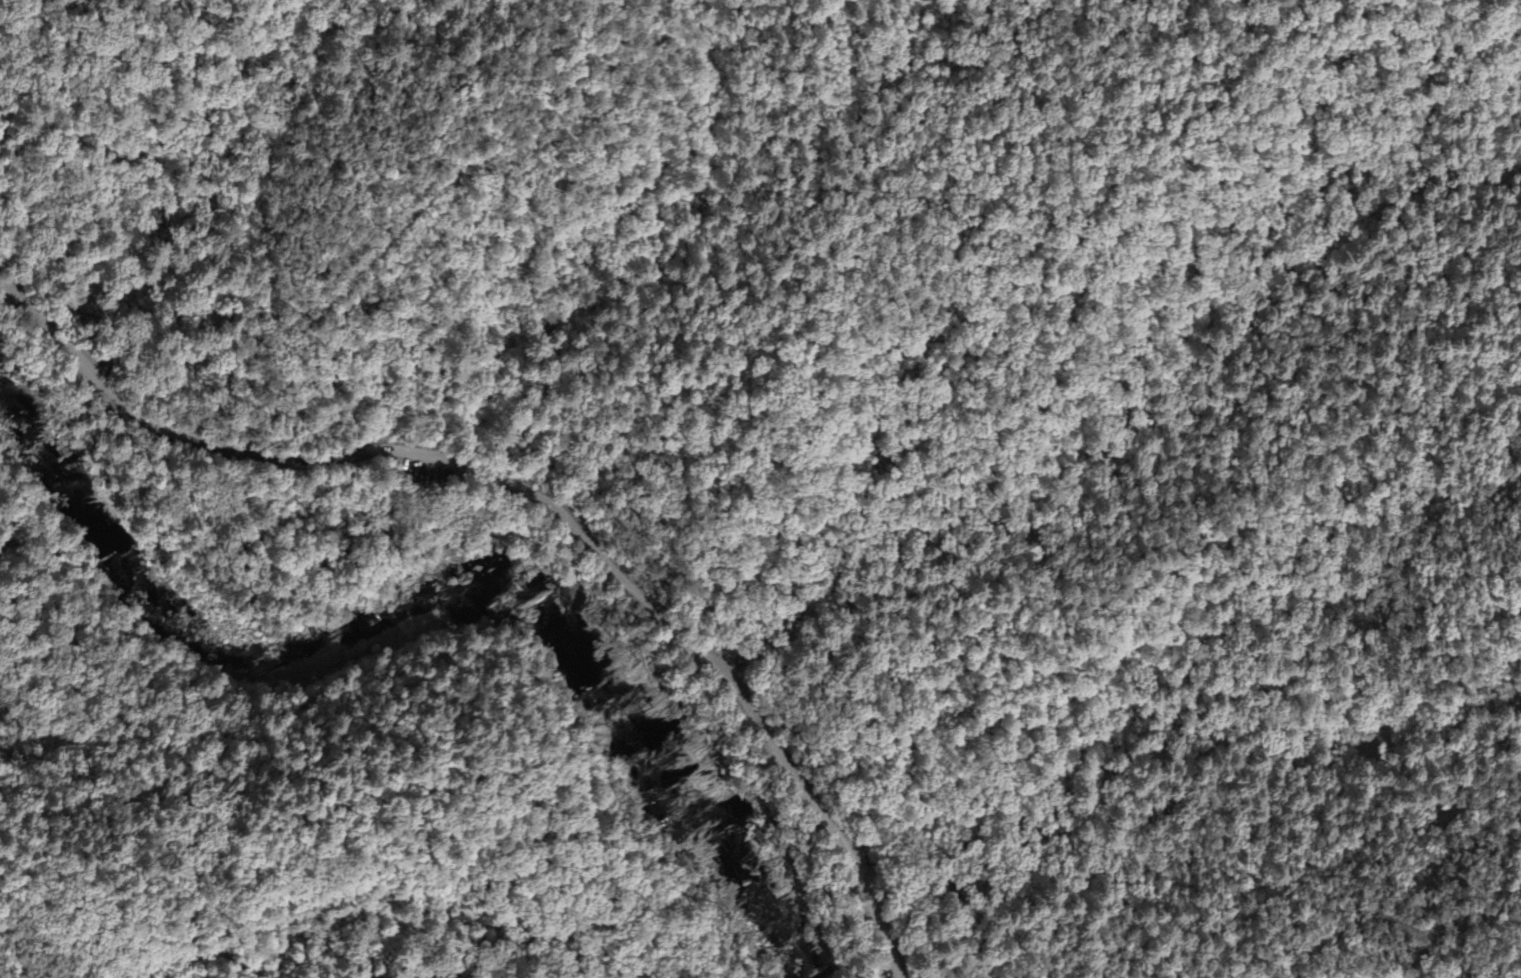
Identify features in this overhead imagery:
road: (245, 288)
road: (421, 466)
parking lot: (420, 473)
road: (533, 501)
river: (203, 649)
river: (667, 782)

